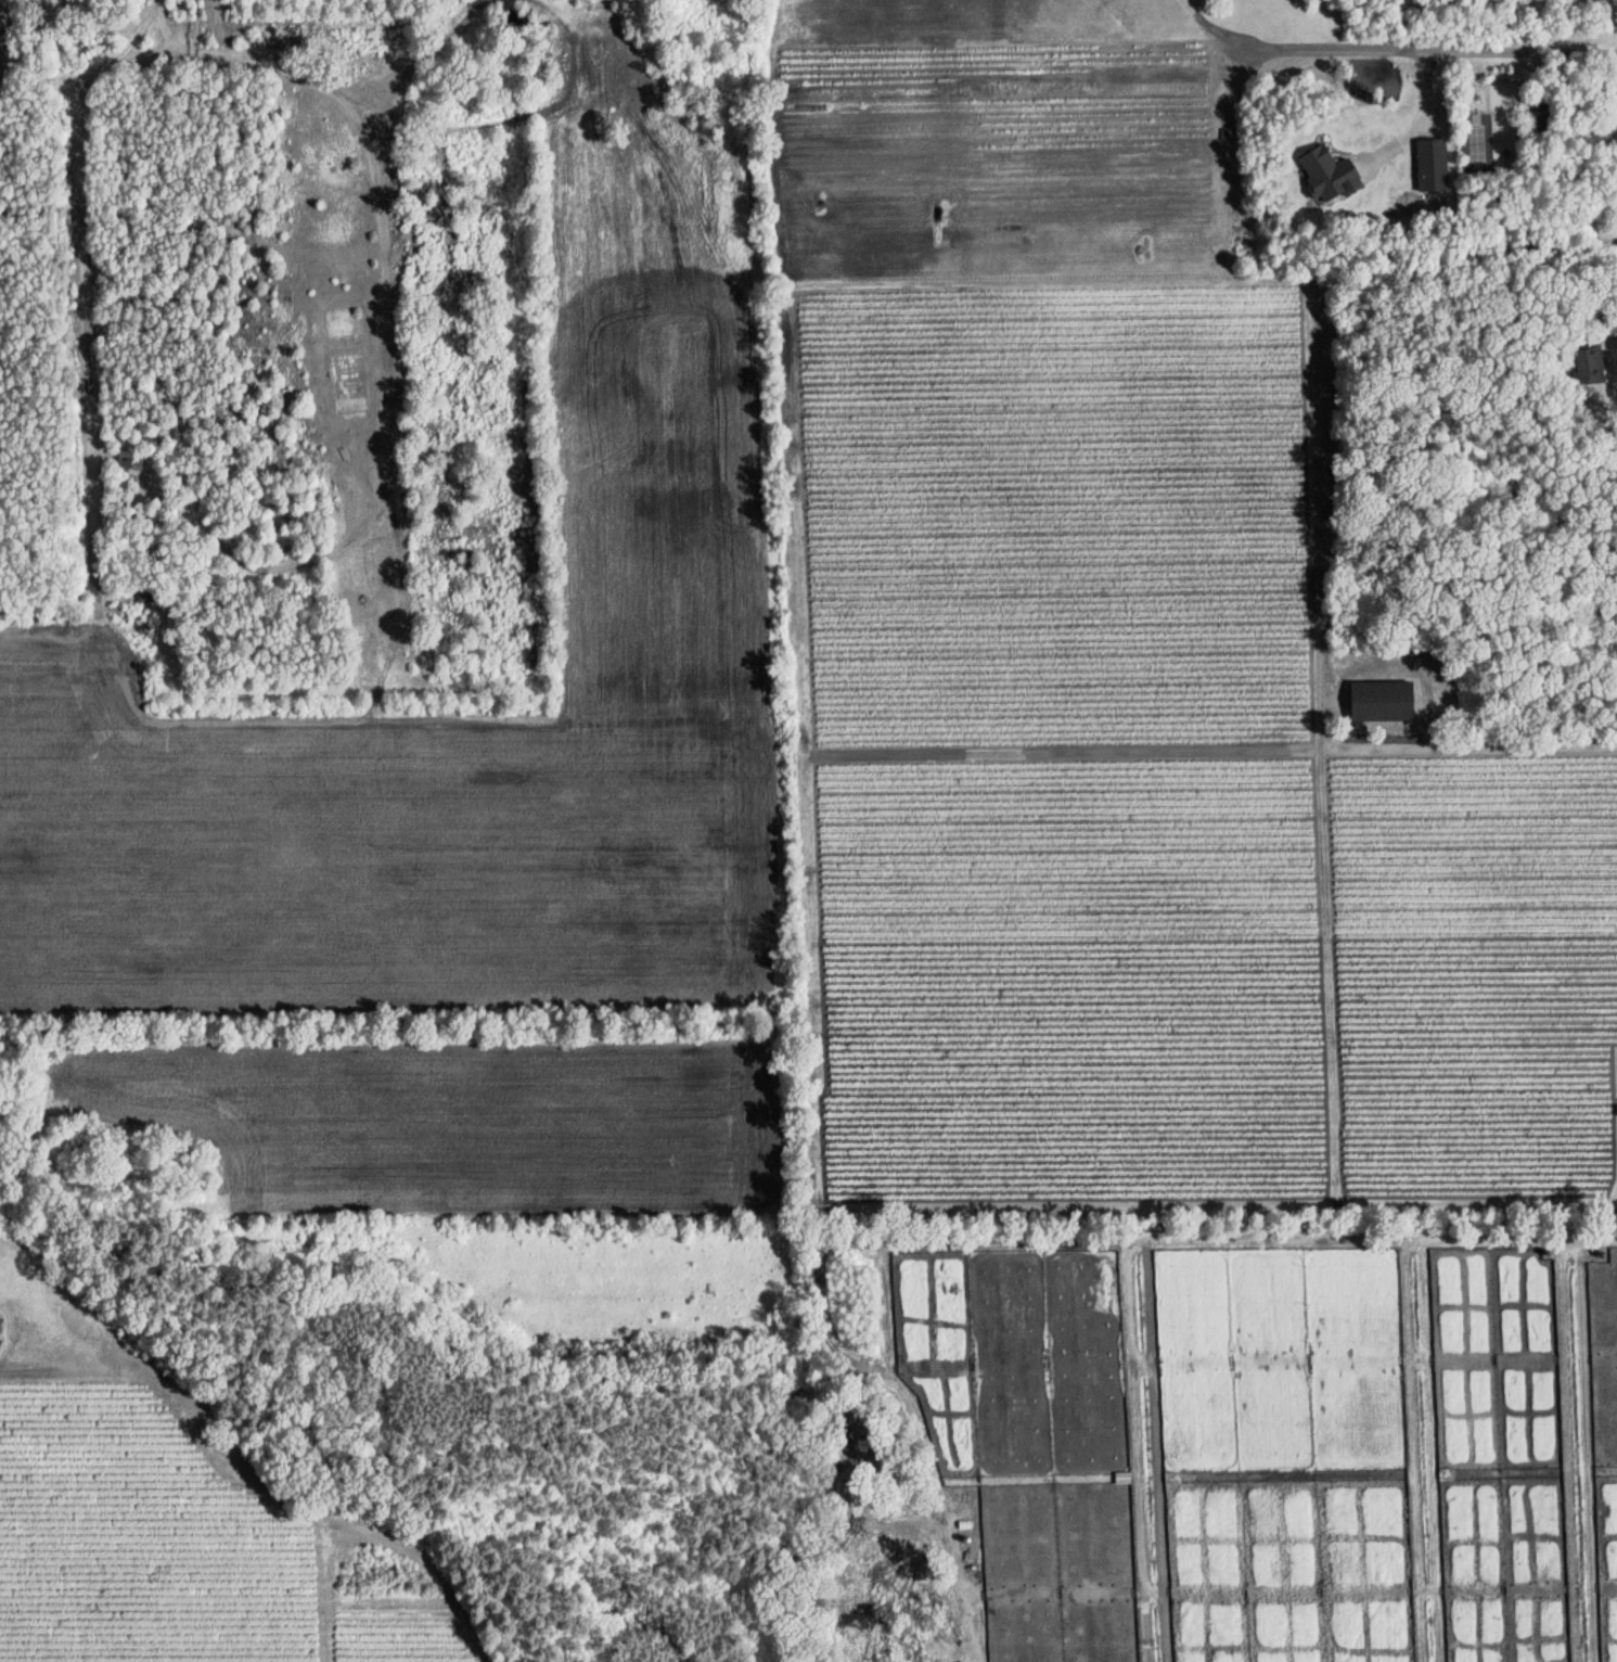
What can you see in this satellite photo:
road: (156, 2)
road: (1385, 48)
road: (152, 60)
building: (1432, 165)
building: (1327, 174)
building: (1588, 363)
building: (128, 461)
road: (313, 564)
building: (1378, 700)

